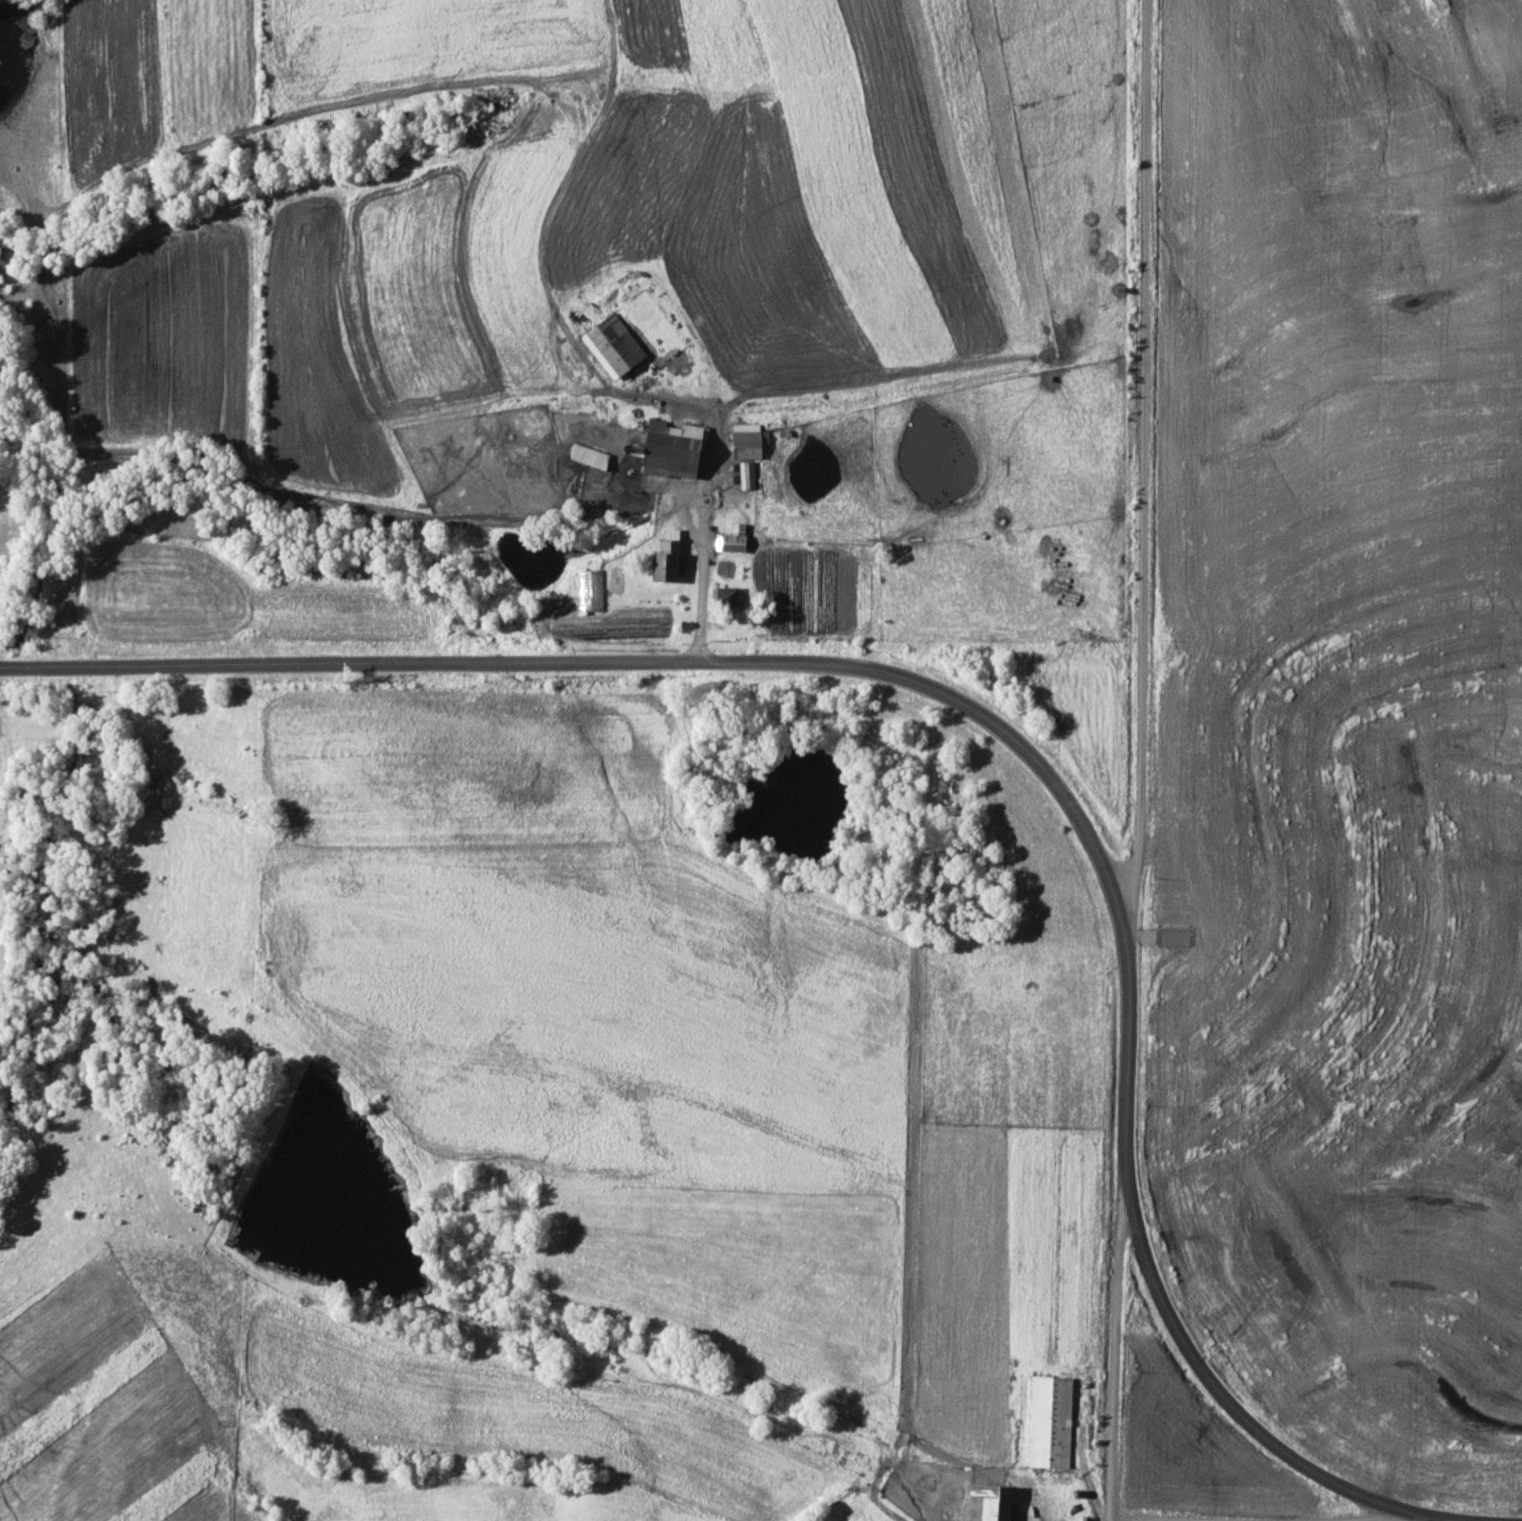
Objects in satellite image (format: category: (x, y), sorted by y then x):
building: (746, 440)
building: (674, 454)
road: (1145, 462)
building: (667, 563)
building: (727, 598)
road: (754, 661)
road: (1114, 1352)
road: (1216, 1389)
road: (1380, 1515)
road: (1434, 1516)

